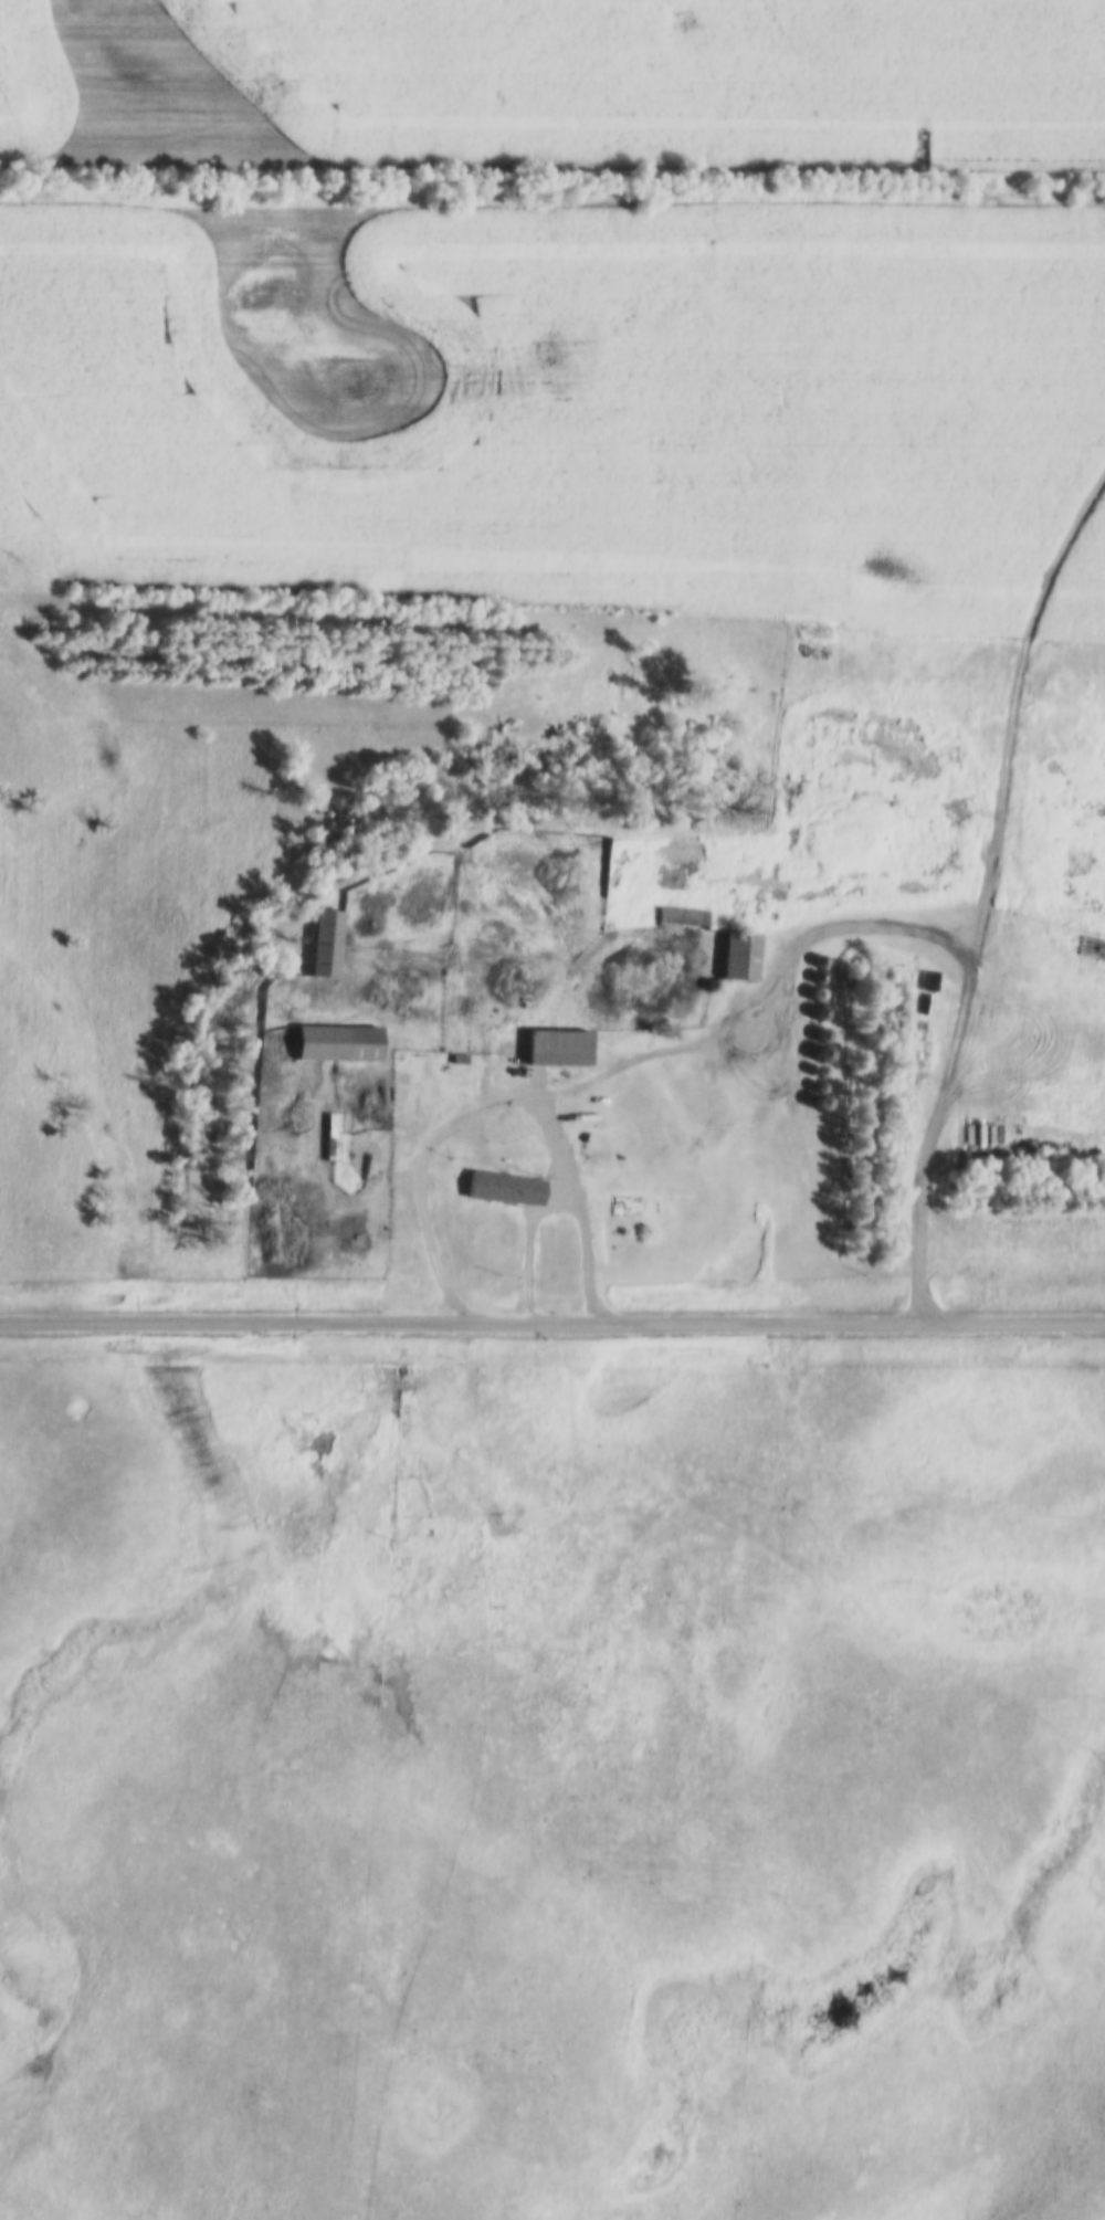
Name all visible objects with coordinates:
road: (1022, 693)
building: (680, 917)
building: (320, 946)
building: (736, 958)
building: (811, 996)
building: (815, 1013)
building: (333, 1045)
building: (554, 1049)
road: (642, 1053)
building: (820, 1054)
road: (933, 1116)
building: (499, 1190)
road: (566, 1207)
road: (551, 1318)

